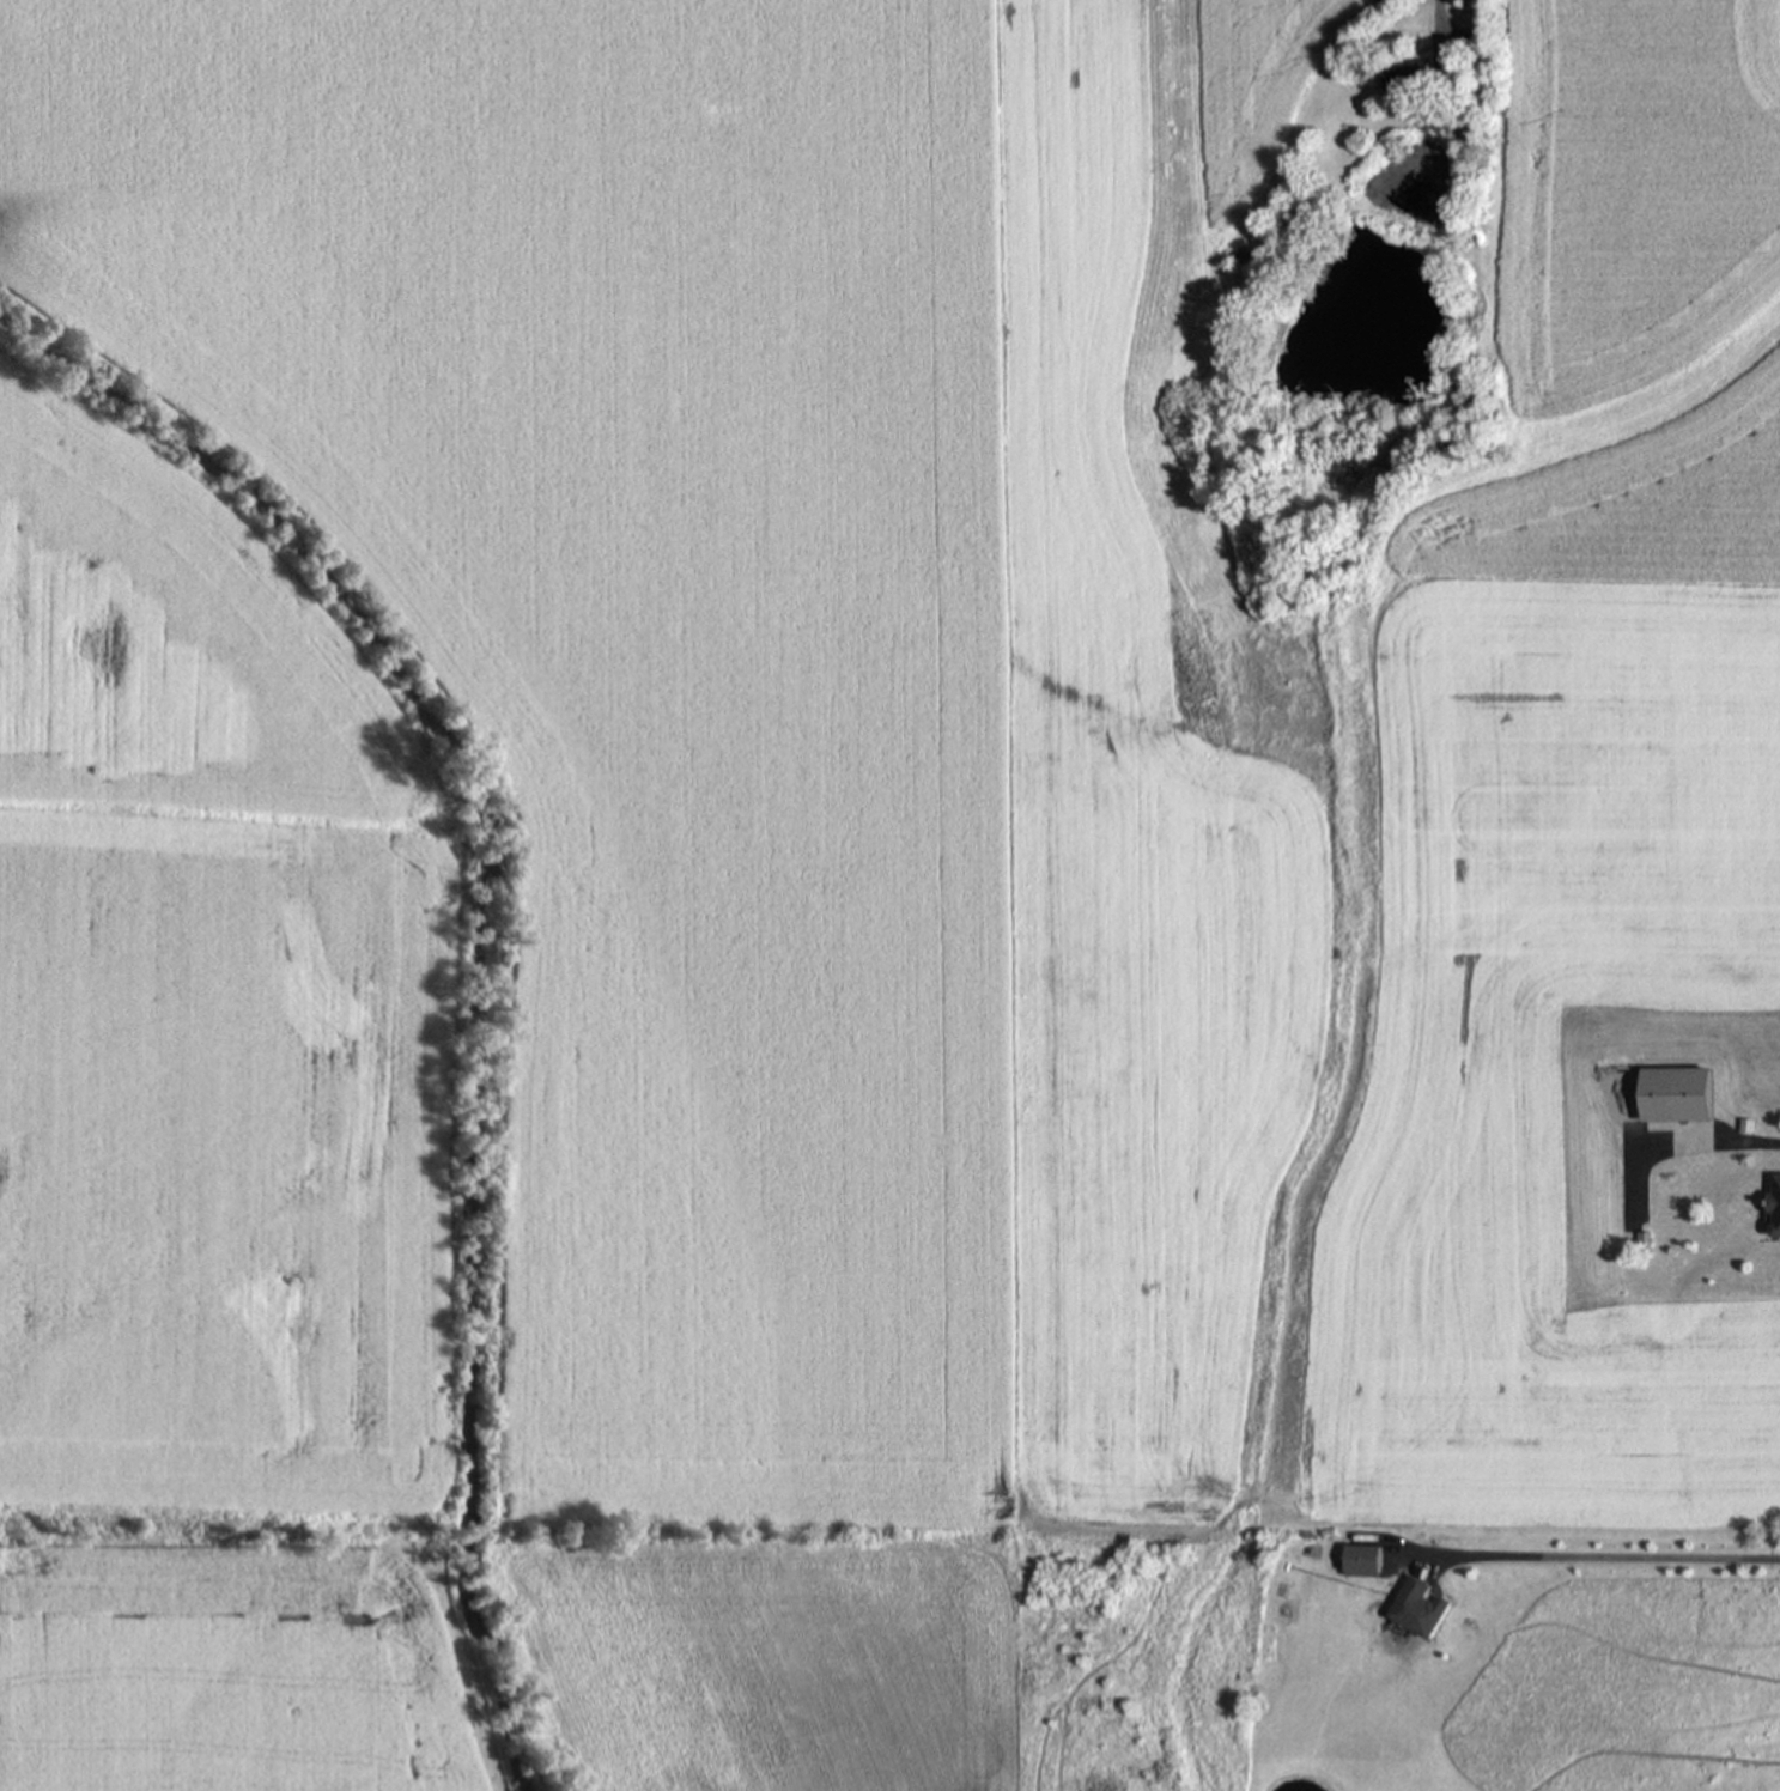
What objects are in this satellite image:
road: (1440, 26)
building: (1423, 75)
building: (1240, 260)
building: (1671, 1092)
road: (1729, 1149)
building: (1772, 1203)
road: (1588, 1559)
building: (1366, 1560)
building: (1423, 1608)

